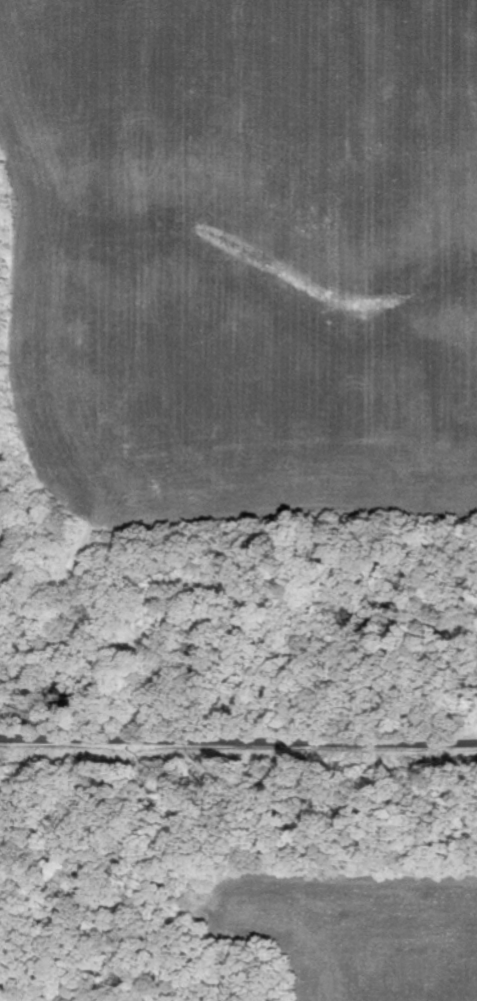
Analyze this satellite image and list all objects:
road: (238, 730)

